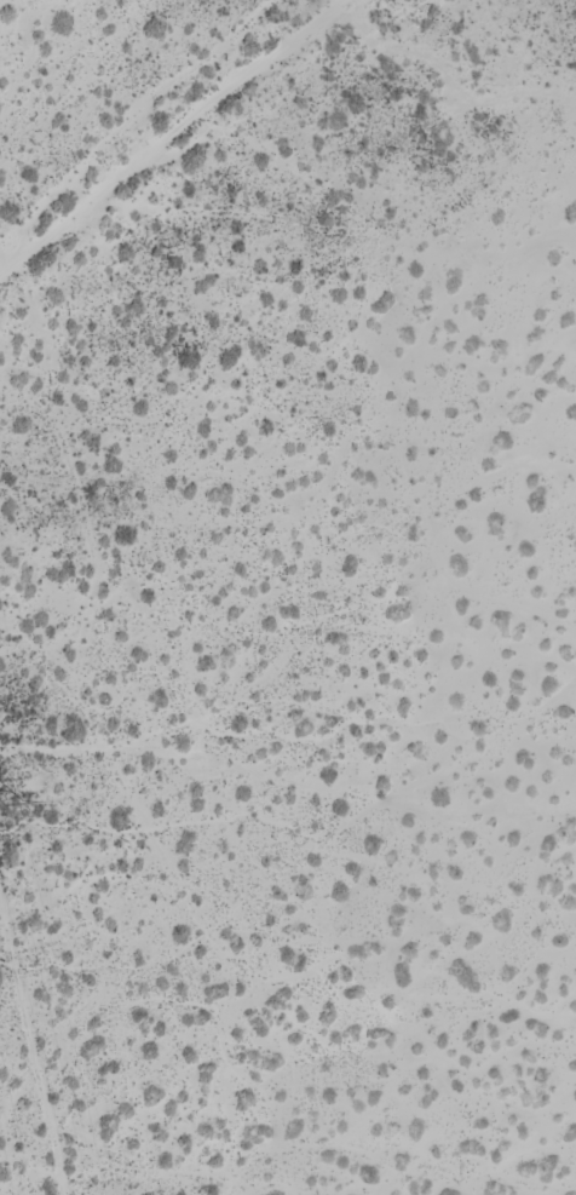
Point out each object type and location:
power tower: (12, 803)

